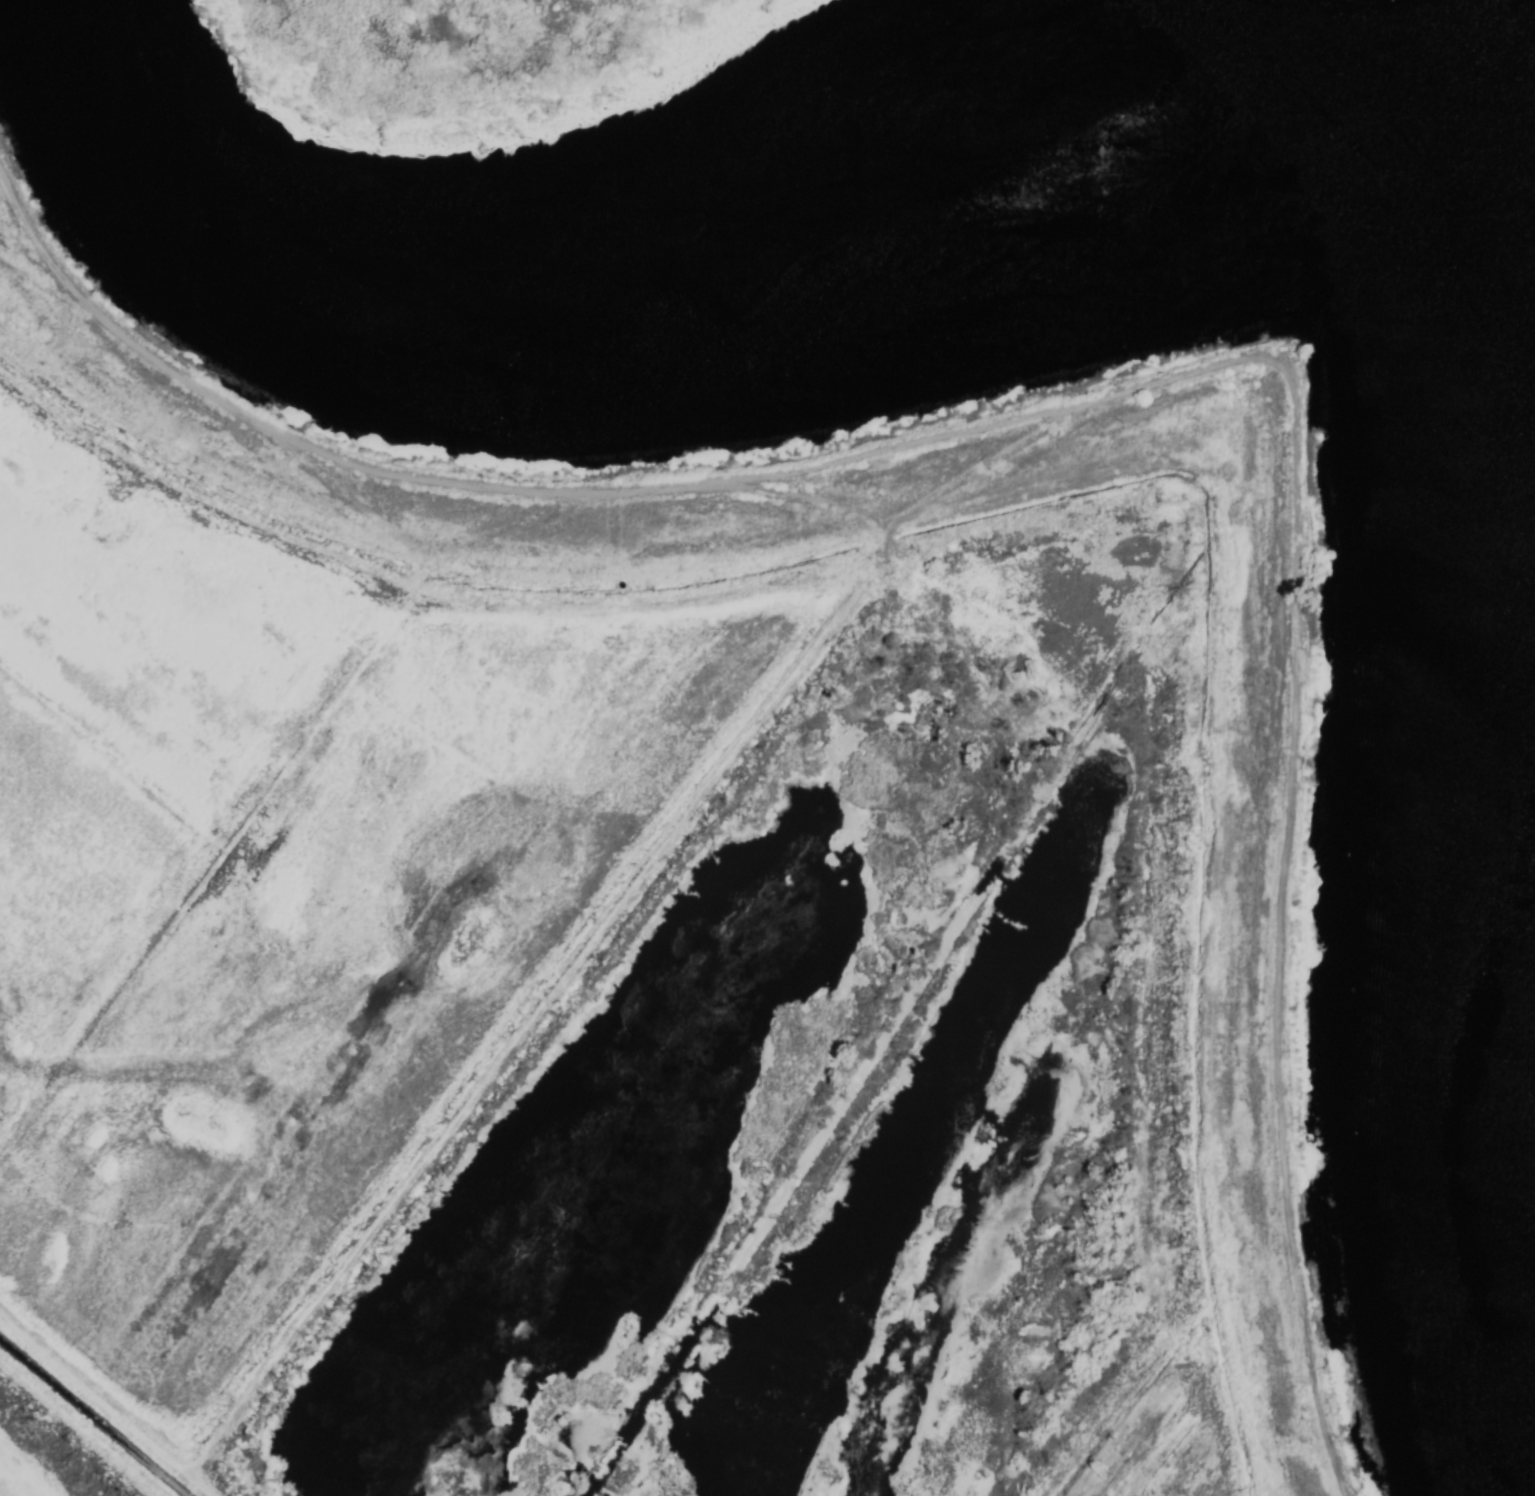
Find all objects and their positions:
river: (1439, 66)
river: (616, 292)
crop: (295, 851)
crop: (1236, 1419)

